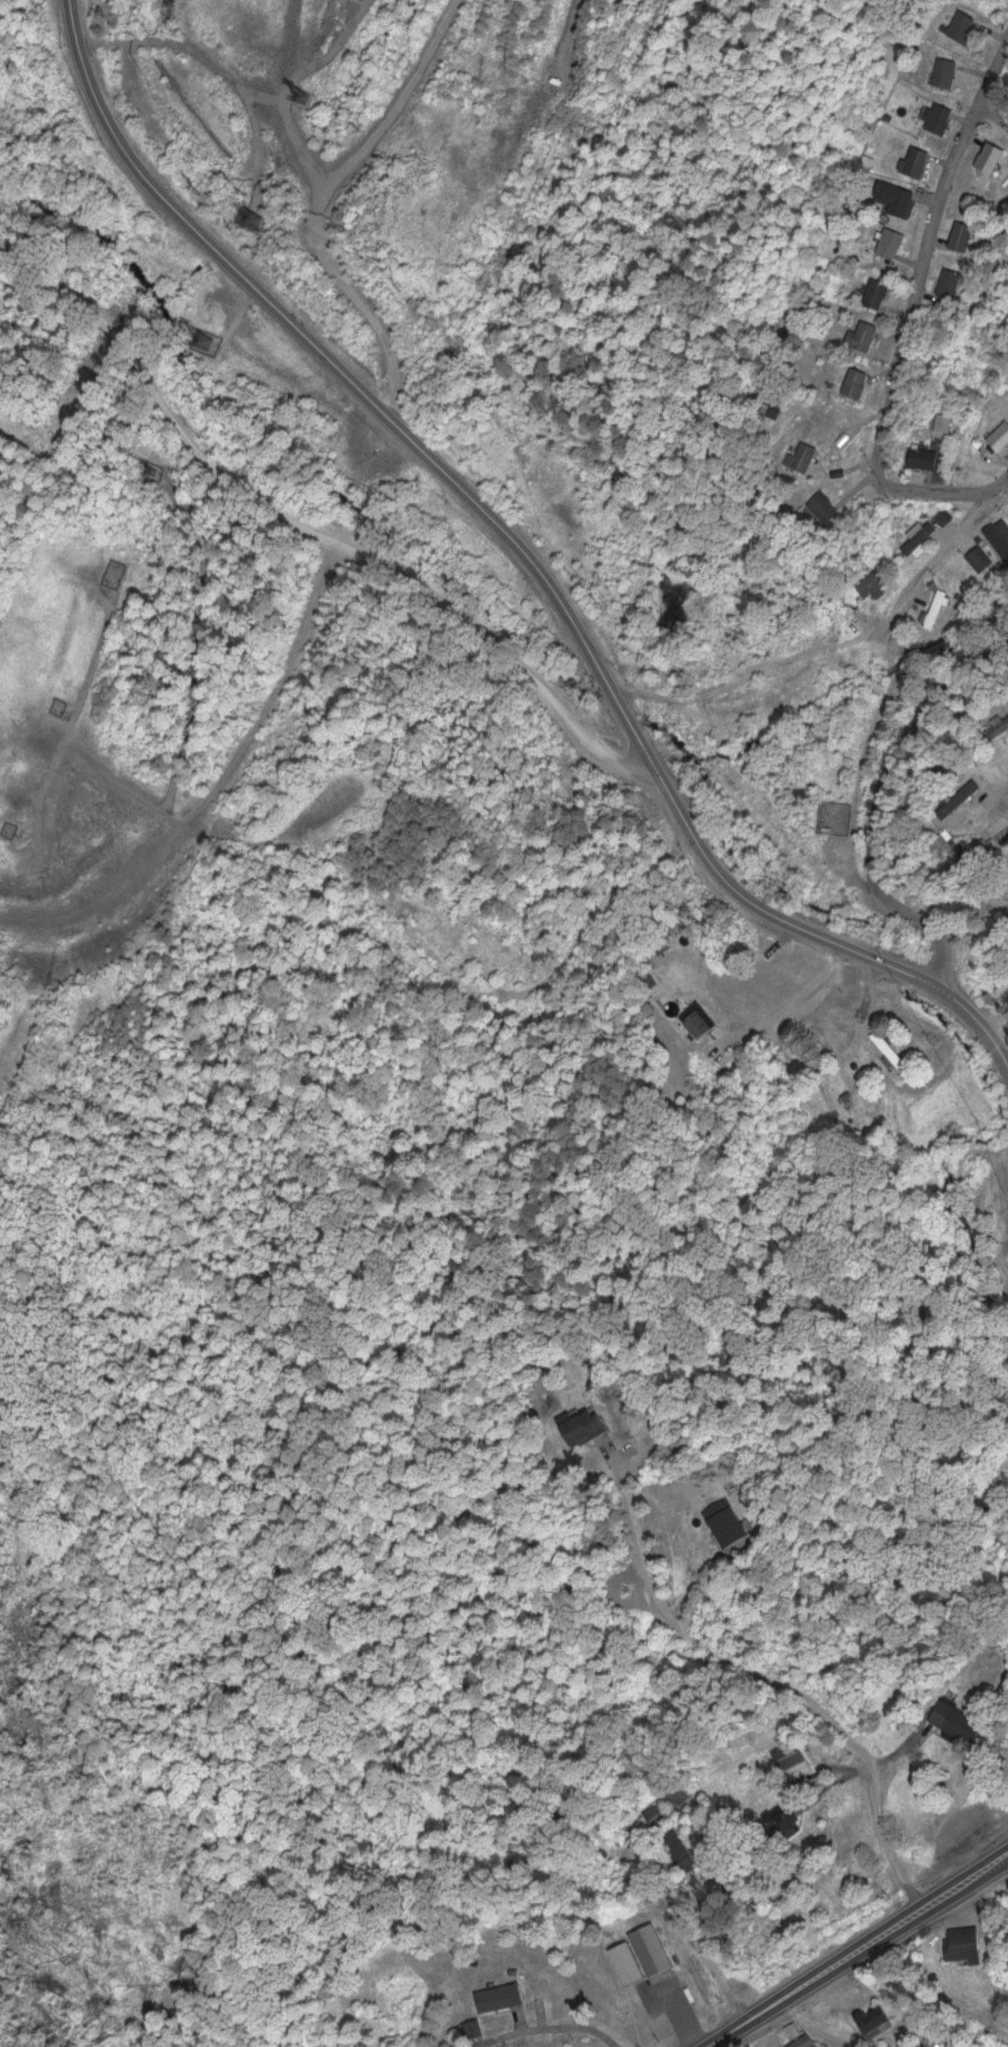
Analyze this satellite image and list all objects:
building: (969, 24)
building: (952, 71)
road: (995, 106)
building: (946, 116)
building: (998, 155)
building: (924, 159)
building: (905, 197)
building: (971, 235)
building: (900, 238)
building: (960, 281)
airport: (384, 287)
building: (884, 291)
building: (871, 335)
building: (864, 381)
road: (889, 393)
building: (950, 420)
building: (1003, 436)
building: (811, 454)
building: (927, 456)
road: (999, 481)
building: (834, 506)
building: (943, 514)
building: (950, 514)
road: (307, 529)
building: (923, 535)
building: (917, 536)
road: (514, 537)
building: (986, 557)
building: (878, 583)
building: (940, 609)
road: (750, 667)
building: (1001, 728)
building: (966, 798)
road: (883, 804)
road: (563, 964)
building: (706, 1019)
road: (999, 1019)
building: (889, 1048)
building: (896, 1048)
road: (998, 1052)
building: (584, 1425)
building: (729, 1523)
road: (996, 1646)
road: (772, 1686)
building: (962, 1722)
building: (793, 1759)
building: (651, 1818)
building: (679, 1847)
building: (965, 1942)
road: (854, 1952)
building: (642, 1954)
road: (270, 1992)
building: (502, 1996)
building: (873, 2019)
road: (815, 2027)
building: (792, 2029)
building: (804, 2041)
building: (940, 2041)

